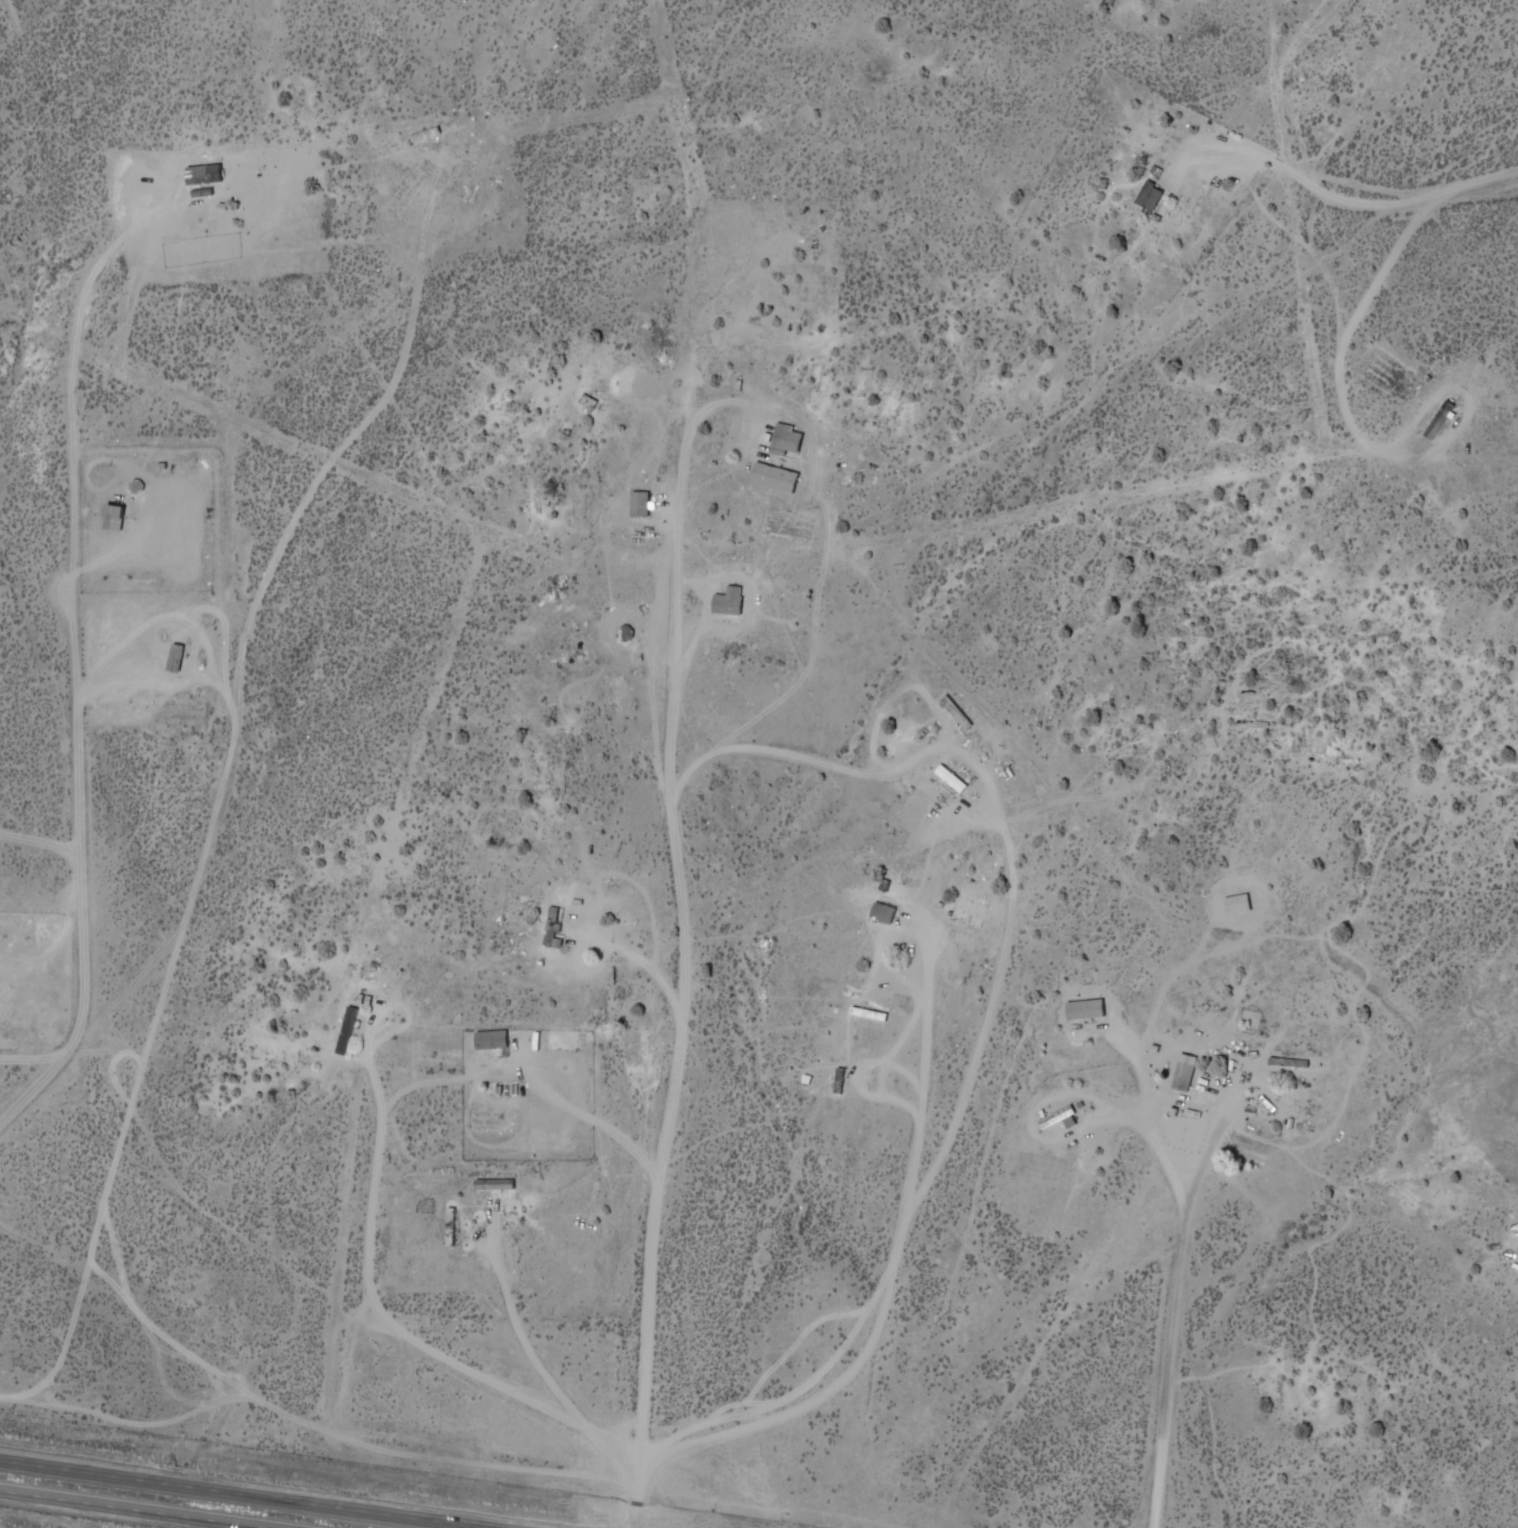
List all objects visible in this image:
building: (1148, 198)
road: (1406, 254)
road: (1307, 326)
building: (1437, 421)
building: (785, 440)
building: (110, 518)
building: (727, 602)
road: (672, 811)
building: (880, 913)
building: (549, 930)
building: (1083, 1008)
building: (489, 1039)
building: (1184, 1071)
road: (654, 1267)
road: (1517, 1284)
road: (1175, 1309)
road: (579, 1410)
road: (1496, 1451)
road: (240, 1493)
road: (135, 1509)
road: (1501, 1509)

